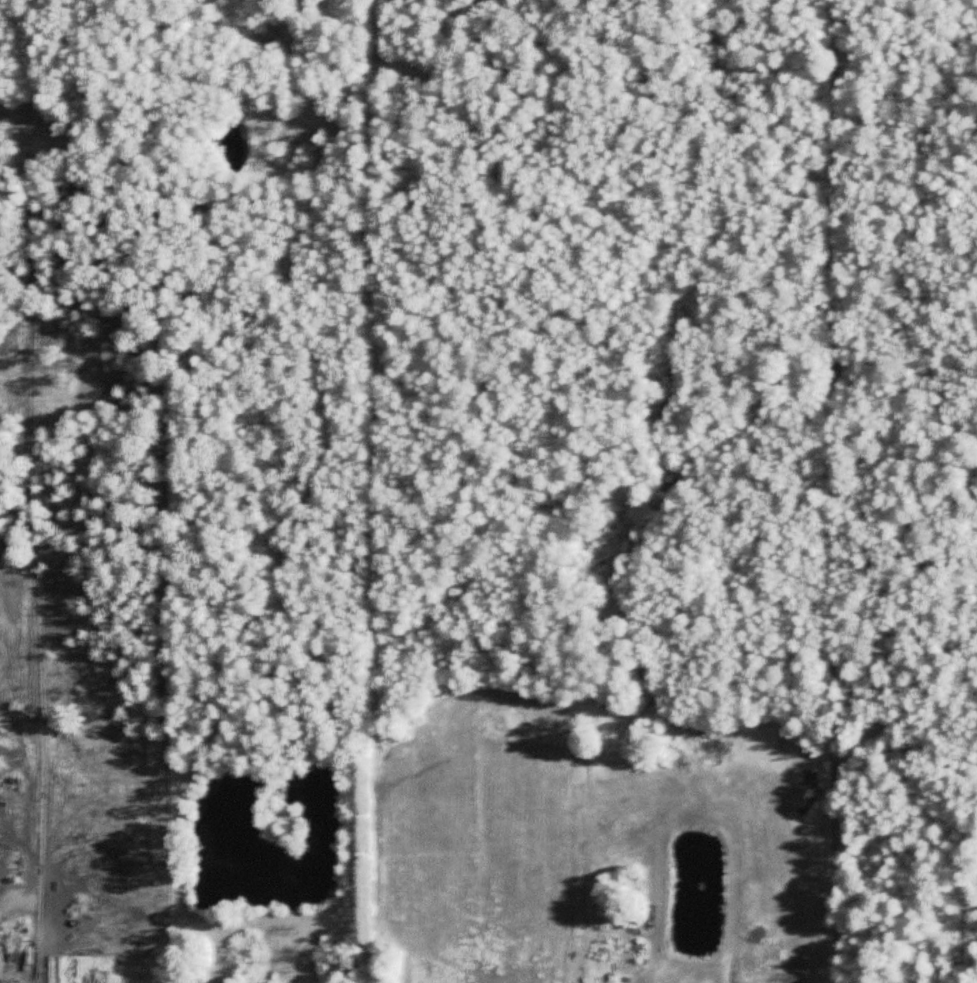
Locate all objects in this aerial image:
building: (6, 980)

